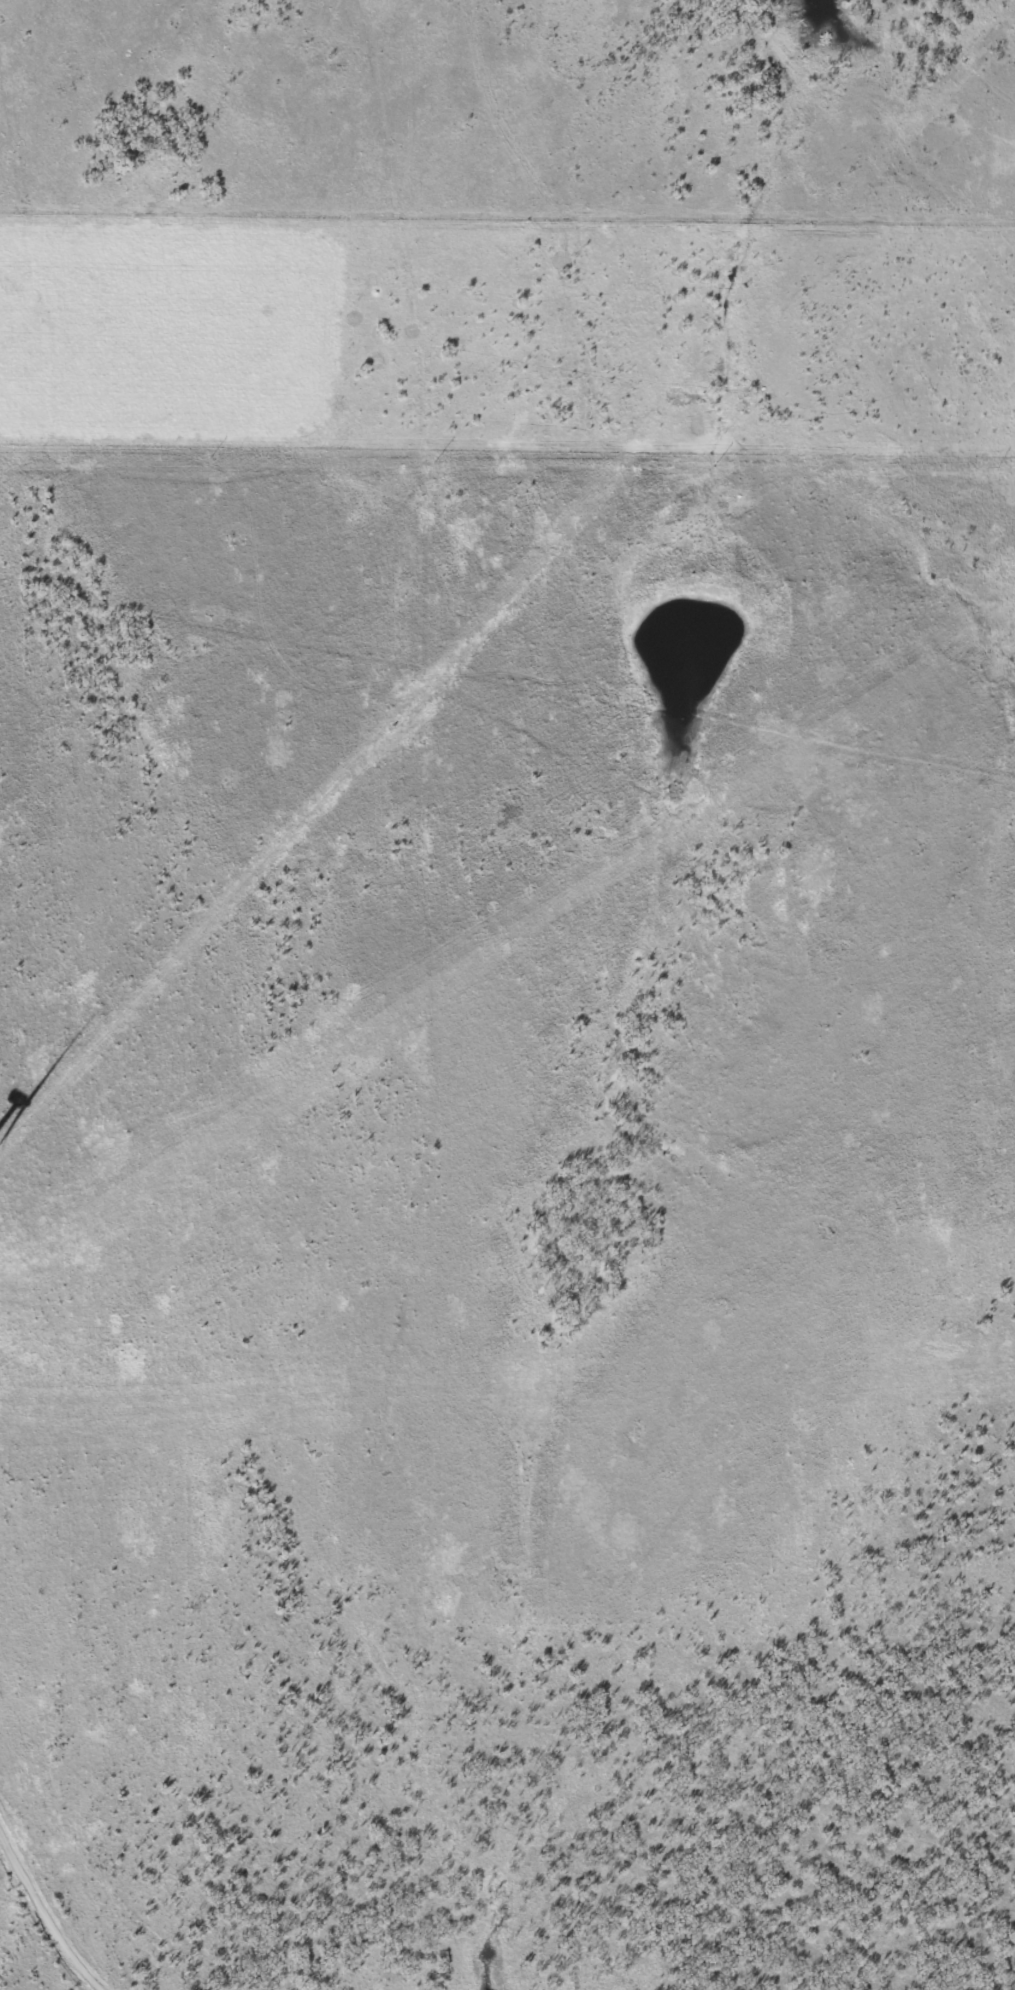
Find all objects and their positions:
road: (405, 996)
road: (10, 1968)

